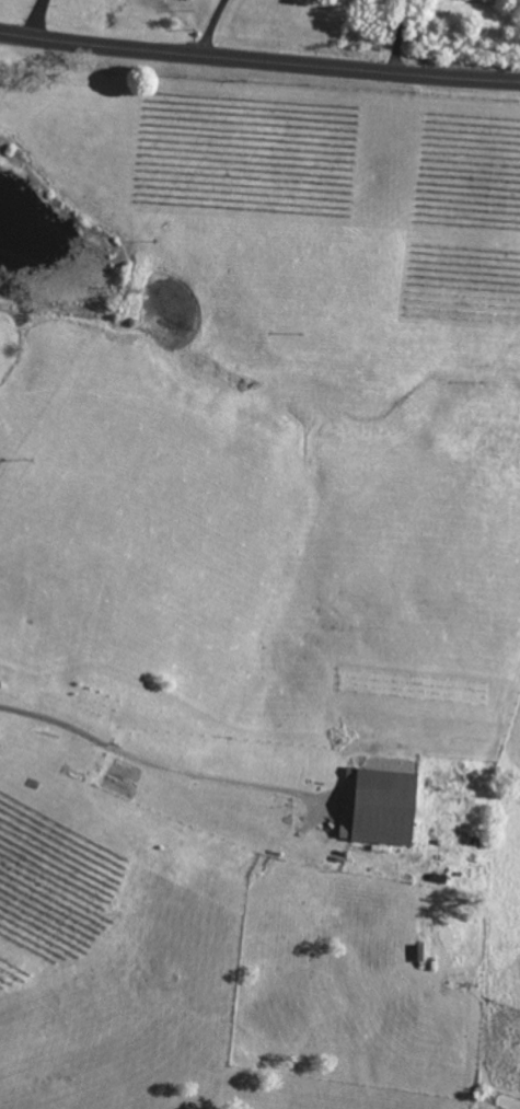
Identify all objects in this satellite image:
road: (34, 18)
road: (259, 59)
road: (152, 762)
building: (385, 806)

